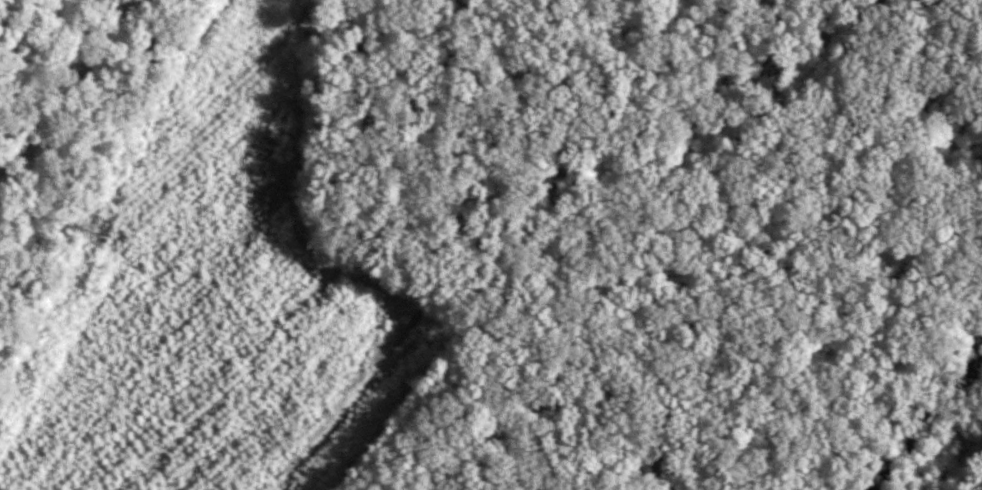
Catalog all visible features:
road: (52, 63)

